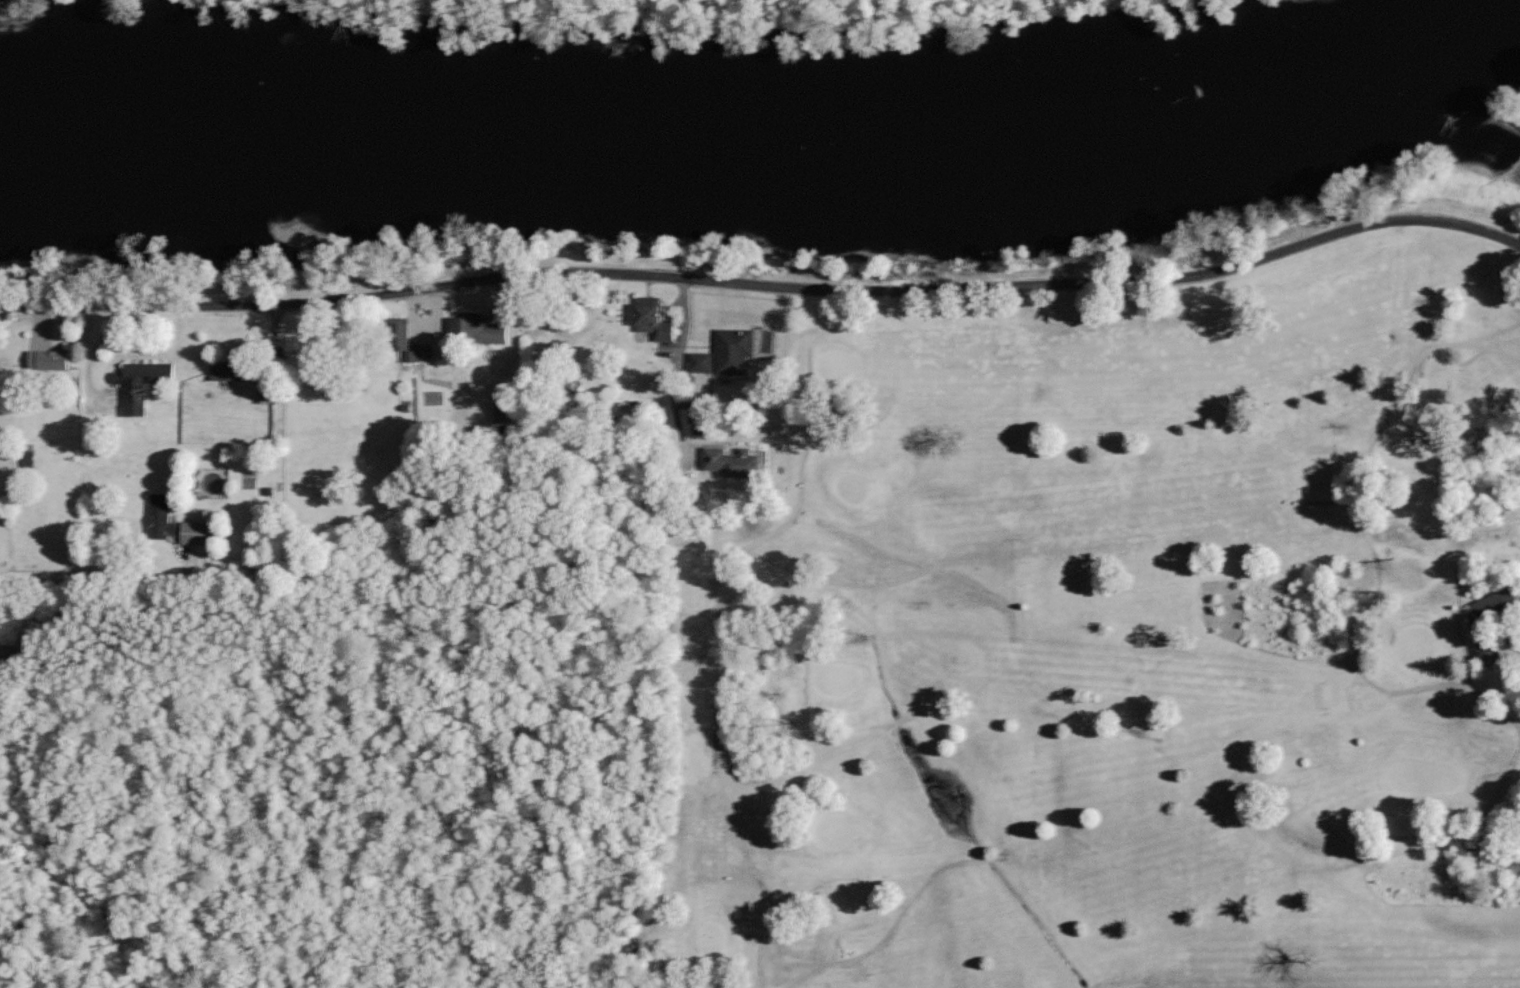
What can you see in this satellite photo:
river: (771, 143)
road: (765, 284)
building: (648, 317)
building: (479, 330)
building: (730, 349)
building: (51, 361)
building: (697, 361)
road: (681, 369)
building: (142, 384)
road: (1403, 389)
building: (269, 396)
building: (505, 411)
building: (721, 461)
building: (163, 518)
building: (198, 533)
road: (100, 565)
building: (1488, 602)
park: (1097, 625)
building: (1483, 653)

